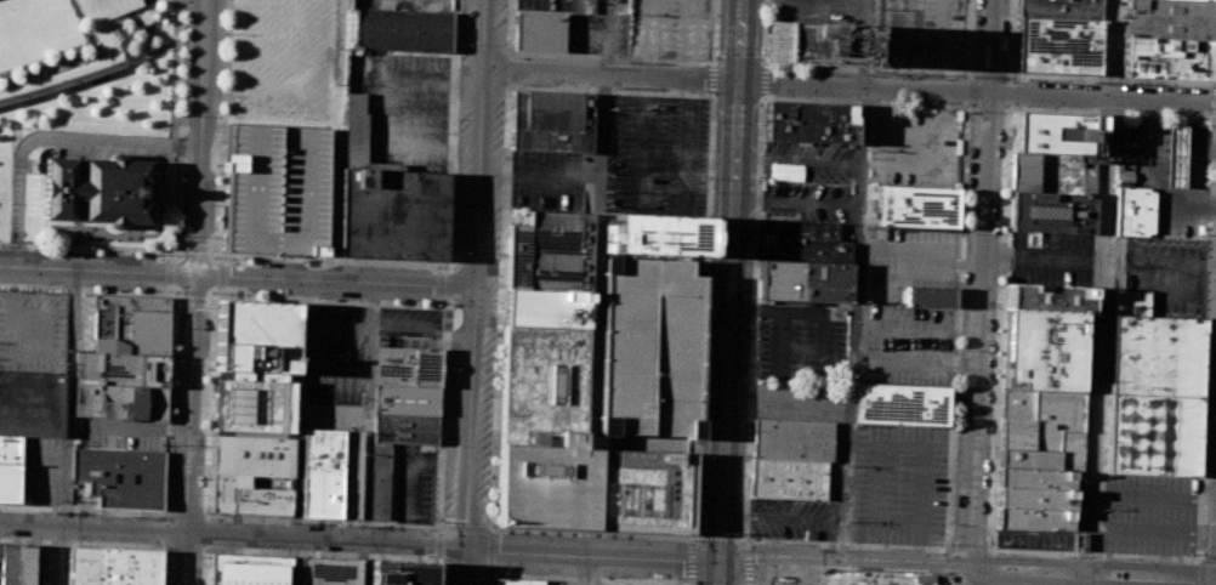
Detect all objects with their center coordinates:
building: (1205, 0)
street lamp: (167, 2)
parking lot: (544, 6)
parking lot: (592, 6)
building: (1059, 8)
parking lot: (814, 11)
building: (1169, 18)
parking lot: (671, 28)
building: (402, 30)
building: (539, 32)
road: (715, 32)
street lamp: (223, 33)
parking lot: (596, 33)
parking lot: (919, 33)
street lamp: (459, 36)
road: (967, 39)
road: (1012, 39)
parking lot: (68, 42)
building: (812, 42)
road: (990, 45)
building: (1058, 45)
street lamp: (506, 49)
street lamp: (167, 51)
street lamp: (715, 51)
street lamp: (763, 55)
road: (586, 56)
building: (1167, 58)
road: (835, 68)
road: (511, 70)
road: (989, 73)
road: (612, 76)
road: (715, 78)
road: (1110, 79)
road: (761, 81)
road: (978, 89)
road: (965, 90)
road: (1010, 91)
street lamp: (680, 93)
street lamp: (165, 95)
street lamp: (768, 97)
road: (866, 102)
street lamp: (927, 103)
street lamp: (968, 106)
street lamp: (1018, 106)
road: (989, 107)
road: (1010, 108)
parking lot: (398, 110)
street lamp: (1170, 112)
road: (1215, 112)
street lamp: (180, 114)
road: (1215, 117)
building: (551, 121)
building: (808, 123)
street lamp: (758, 124)
road: (176, 125)
building: (356, 130)
building: (1057, 131)
road: (51, 136)
parking lot: (910, 150)
building: (1175, 155)
gas station: (1175, 155)
parking lot: (657, 157)
parking lot: (808, 161)
street lamp: (216, 164)
road: (712, 164)
street lamp: (181, 171)
building: (1055, 171)
street lamp: (453, 174)
road: (539, 174)
street lamp: (714, 175)
street lamp: (762, 180)
parking lot: (546, 181)
street lamp: (756, 182)
building: (92, 189)
building: (274, 189)
parking lot: (274, 189)
street lamp: (10, 198)
parking lot: (806, 203)
street lamp: (215, 204)
road: (663, 204)
building: (916, 206)
street lamp: (180, 211)
building: (1050, 211)
building: (1133, 211)
building: (391, 215)
street lamp: (8, 233)
street lamp: (180, 234)
building: (658, 234)
road: (1210, 234)
street lamp: (214, 237)
building: (801, 243)
street lamp: (0, 246)
road: (36, 246)
road: (180, 246)
road: (195, 246)
road: (211, 246)
street lamp: (33, 250)
road: (124, 250)
street lamp: (62, 251)
building: (549, 251)
street lamp: (93, 252)
street lamp: (456, 252)
street lamp: (130, 254)
street lamp: (157, 255)
road: (169, 256)
street lamp: (212, 257)
parking lot: (1047, 257)
road: (1041, 259)
road: (221, 260)
road: (336, 260)
street lamp: (231, 261)
parking lot: (904, 261)
street lamp: (501, 263)
street lamp: (436, 268)
road: (441, 269)
road: (169, 272)
parking lot: (1167, 274)
road: (221, 276)
road: (235, 277)
building: (800, 280)
road: (441, 284)
road: (595, 286)
street lamp: (100, 289)
street lamp: (127, 289)
street lamp: (157, 289)
road: (167, 289)
road: (222, 290)
street lamp: (176, 291)
road: (472, 291)
railway: (738, 291)
road: (1102, 291)
road: (194, 292)
street lamp: (211, 292)
railway: (718, 292)
road: (732, 292)
road: (857, 292)
street lamp: (233, 295)
road: (215, 296)
street lamp: (266, 296)
building: (930, 296)
building: (1047, 297)
street lamp: (316, 299)
street lamp: (1215, 299)
road: (178, 300)
road: (193, 300)
street lamp: (356, 300)
road: (441, 300)
road: (209, 301)
street lamp: (399, 302)
building: (1130, 302)
street lamp: (434, 303)
street lamp: (337, 305)
building: (545, 308)
road: (172, 319)
parking lot: (408, 322)
building: (131, 324)
street lamp: (749, 325)
parking lot: (32, 329)
road: (336, 329)
road: (420, 329)
road: (1001, 329)
street lamp: (208, 333)
street lamp: (402, 335)
road: (978, 336)
parking lot: (800, 340)
parking lot: (905, 345)
building: (648, 348)
parking lot: (648, 348)
building: (1041, 351)
street lamp: (334, 353)
street lamp: (172, 367)
parking lot: (334, 367)
building: (407, 367)
street lamp: (498, 367)
building: (254, 368)
street lamp: (445, 368)
road: (334, 379)
building: (120, 385)
building: (1093, 386)
building: (1154, 394)
road: (68, 397)
street lamp: (333, 399)
building: (405, 399)
road: (789, 402)
street lamp: (171, 403)
parking lot: (803, 404)
building: (902, 404)
building: (1018, 404)
road: (299, 408)
road: (366, 410)
building: (1056, 418)
street lamp: (1209, 418)
building: (403, 427)
parking lot: (119, 433)
building: (1017, 433)
building: (791, 438)
street lamp: (495, 442)
street lamp: (170, 444)
street lamp: (443, 444)
building: (573, 448)
building: (1070, 450)
street lamp: (745, 458)
building: (1028, 459)
road: (47, 462)
building: (10, 468)
parking lot: (40, 468)
building: (250, 471)
building: (330, 473)
building: (123, 476)
road: (408, 476)
street lamp: (170, 477)
building: (788, 477)
street lamp: (953, 478)
building: (1036, 478)
building: (379, 481)
parking lot: (410, 483)
parking lot: (899, 483)
road: (1154, 494)
building: (1035, 498)
road: (84, 510)
road: (1107, 511)
street lamp: (123, 512)
parking lot: (1149, 513)
road: (184, 516)
street lamp: (439, 516)
street lamp: (491, 516)
road: (206, 517)
parking lot: (794, 517)
building: (1035, 518)
road: (493, 529)
road: (205, 532)
road: (164, 533)
road: (1153, 533)
road: (231, 534)
road: (493, 534)
parking lot: (1035, 539)
street lamp: (686, 540)
road: (101, 544)
road: (850, 544)
street lamp: (775, 545)
street lamp: (882, 546)
road: (182, 547)
traffic signals: (462, 547)
road: (205, 549)
road: (982, 549)
street lamp: (1203, 549)
road: (316, 552)
street lamp: (995, 552)
road: (62, 555)
street lamp: (1110, 555)
road: (590, 556)
road: (1095, 556)
road: (692, 560)
road: (1208, 560)
building: (0, 561)
road: (292, 561)
street lamp: (431, 561)
road: (360, 562)
traffic signals: (720, 562)
building: (17, 564)
parking lot: (45, 566)
road: (947, 566)
building: (113, 567)
building: (246, 569)
building: (325, 570)
road: (586, 570)
road: (967, 570)
building: (398, 572)
road: (1199, 572)
street lamp: (500, 575)
road: (811, 575)
road: (586, 578)
road: (989, 579)
building: (517, 581)
street lamp: (688, 581)
parking lot: (570, 583)
street lamp: (773, 583)

